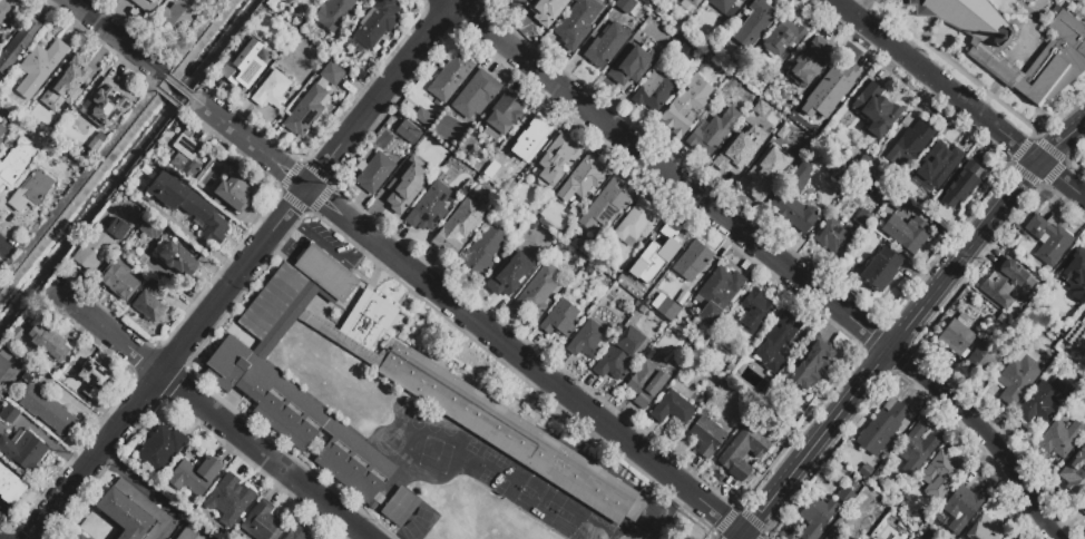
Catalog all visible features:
building: (362, 1)
building: (678, 1)
building: (694, 2)
building: (147, 3)
building: (515, 3)
building: (726, 6)
building: (628, 7)
building: (6, 9)
road: (864, 9)
building: (547, 11)
building: (334, 13)
building: (179, 16)
building: (378, 22)
building: (577, 22)
building: (755, 22)
road: (118, 38)
building: (784, 39)
building: (18, 45)
building: (606, 46)
building: (1064, 52)
building: (688, 55)
building: (809, 62)
building: (244, 63)
building: (632, 63)
building: (39, 67)
building: (332, 73)
building: (450, 77)
road: (156, 78)
building: (837, 80)
road: (937, 80)
building: (71, 86)
road: (177, 86)
building: (272, 90)
building: (653, 92)
building: (476, 95)
road: (168, 98)
building: (107, 104)
road: (194, 106)
building: (686, 106)
road: (184, 108)
building: (306, 111)
building: (876, 111)
building: (504, 116)
building: (423, 118)
building: (2, 130)
building: (714, 131)
building: (409, 133)
building: (526, 139)
building: (1, 141)
road: (248, 141)
road: (1062, 141)
building: (911, 143)
building: (95, 145)
building: (733, 156)
building: (184, 157)
building: (557, 159)
building: (16, 160)
building: (936, 167)
building: (374, 173)
building: (765, 173)
building: (842, 177)
building: (583, 180)
road: (1062, 180)
building: (870, 186)
building: (962, 186)
building: (30, 190)
building: (398, 190)
building: (236, 192)
building: (897, 200)
building: (188, 205)
building: (606, 205)
building: (430, 208)
building: (793, 214)
building: (862, 219)
building: (460, 224)
building: (637, 224)
building: (150, 228)
building: (134, 232)
building: (906, 233)
building: (830, 236)
building: (1049, 242)
building: (664, 243)
building: (98, 245)
road: (2, 247)
road: (328, 248)
building: (483, 252)
building: (125, 253)
road: (769, 254)
road: (962, 254)
building: (177, 258)
building: (692, 262)
building: (881, 268)
road: (244, 269)
building: (511, 273)
building: (1074, 274)
building: (119, 280)
building: (1004, 282)
building: (156, 288)
building: (538, 291)
building: (720, 294)
building: (148, 305)
building: (1073, 308)
building: (667, 310)
building: (754, 311)
building: (1084, 314)
building: (559, 320)
building: (957, 336)
building: (1075, 337)
building: (587, 340)
building: (41, 342)
building: (775, 343)
building: (618, 354)
building: (985, 356)
road: (525, 361)
building: (810, 364)
building: (7, 367)
building: (1017, 375)
building: (94, 380)
building: (645, 383)
building: (436, 389)
building: (82, 400)
building: (1043, 401)
building: (45, 404)
building: (673, 409)
building: (9, 413)
road: (206, 414)
park: (417, 422)
park: (432, 425)
building: (884, 427)
park: (449, 429)
building: (705, 437)
building: (1062, 439)
road: (815, 441)
building: (160, 448)
building: (913, 450)
building: (23, 451)
building: (743, 453)
park: (437, 462)
building: (1076, 470)
building: (939, 472)
building: (195, 476)
building: (10, 486)
park: (500, 487)
building: (162, 490)
building: (844, 496)
building: (228, 498)
park: (539, 499)
building: (966, 503)
building: (400, 507)
building: (1083, 509)
building: (133, 512)
park: (423, 514)
building: (817, 517)
park: (579, 522)
building: (263, 523)
building: (983, 529)
park: (411, 530)
building: (189, 531)
building: (296, 533)
park: (528, 533)
road: (741, 536)
road: (745, 536)
building: (831, 536)
building: (76, 538)
building: (82, 538)
building: (88, 538)
building: (868, 538)

